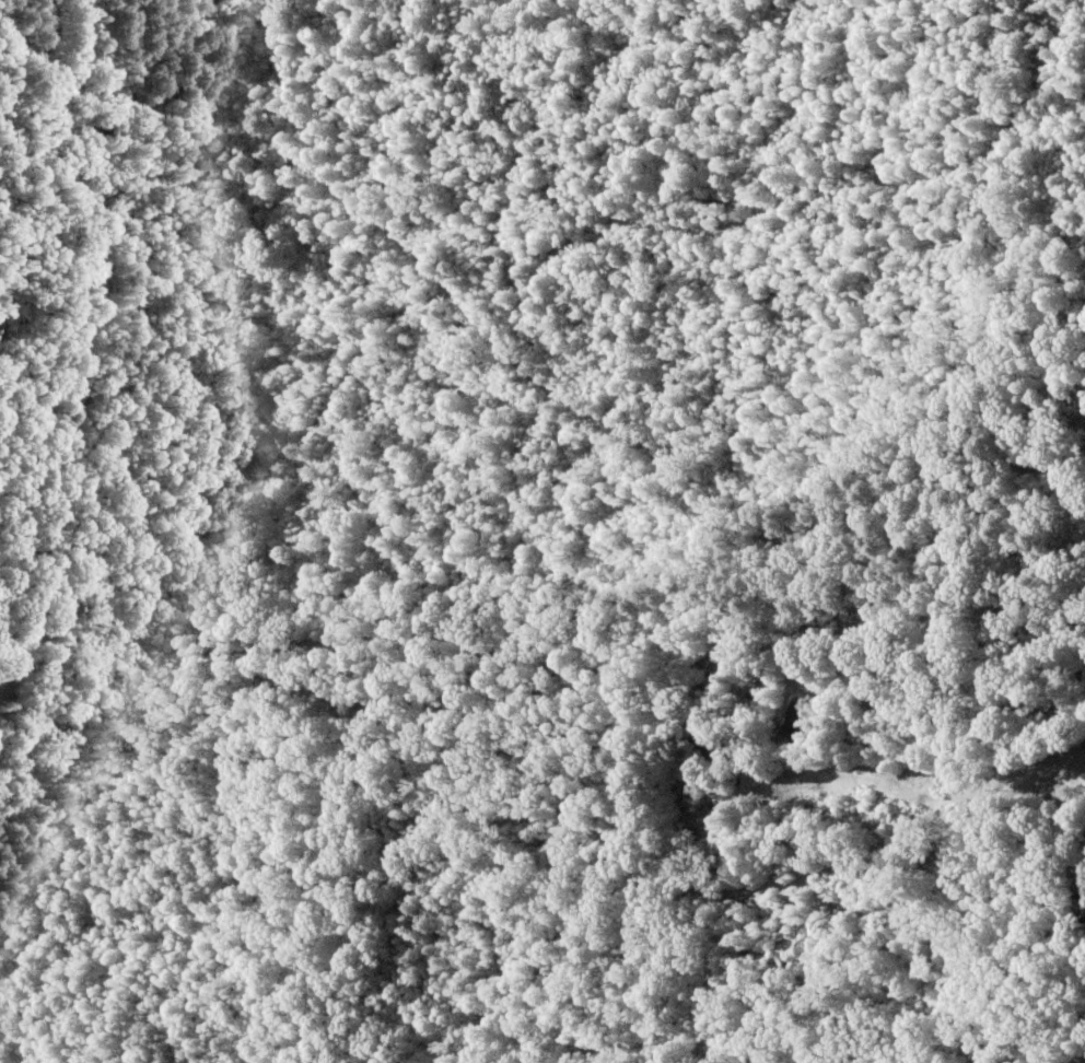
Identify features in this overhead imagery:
road: (775, 78)
road: (34, 292)
road: (544, 376)

